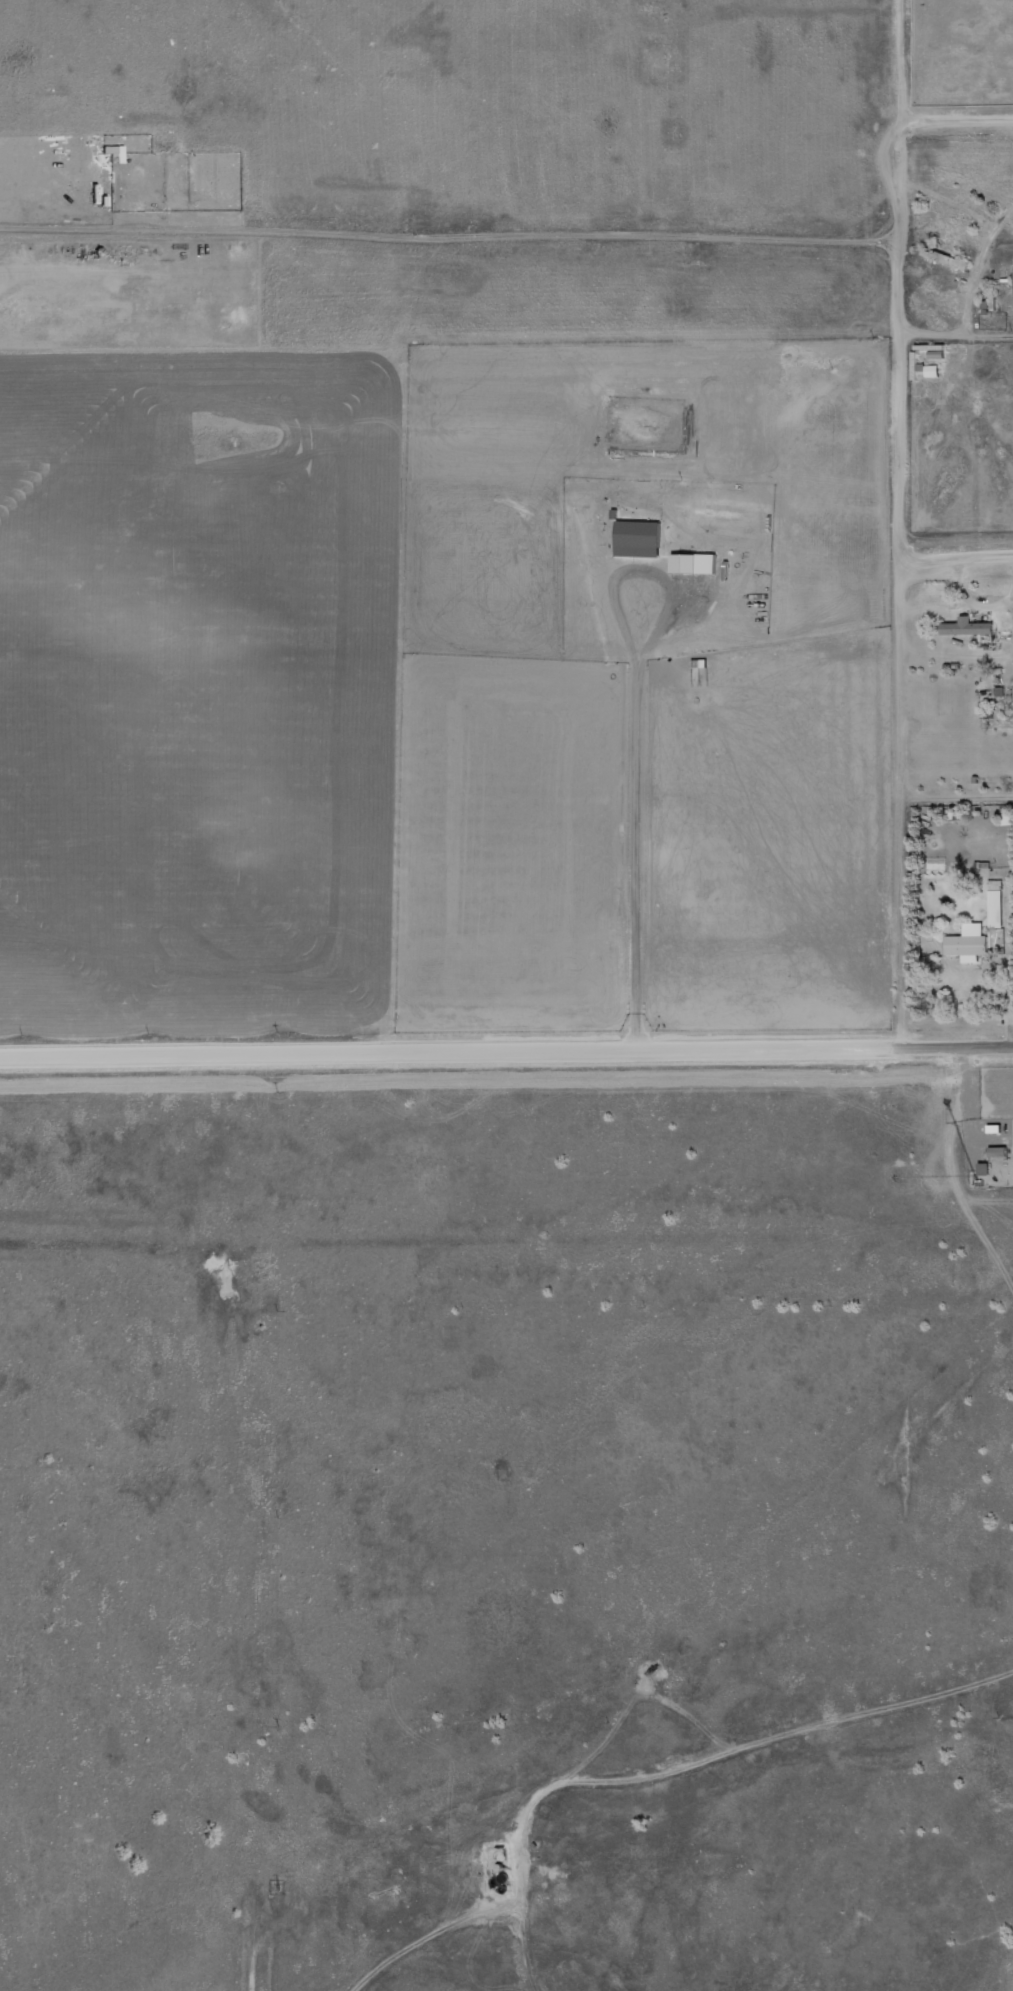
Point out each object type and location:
road: (968, 121)
building: (117, 153)
building: (934, 372)
building: (640, 539)
road: (963, 558)
building: (687, 564)
building: (969, 627)
building: (997, 904)
building: (969, 945)
road: (506, 1052)
building: (997, 1128)
building: (1000, 1151)

